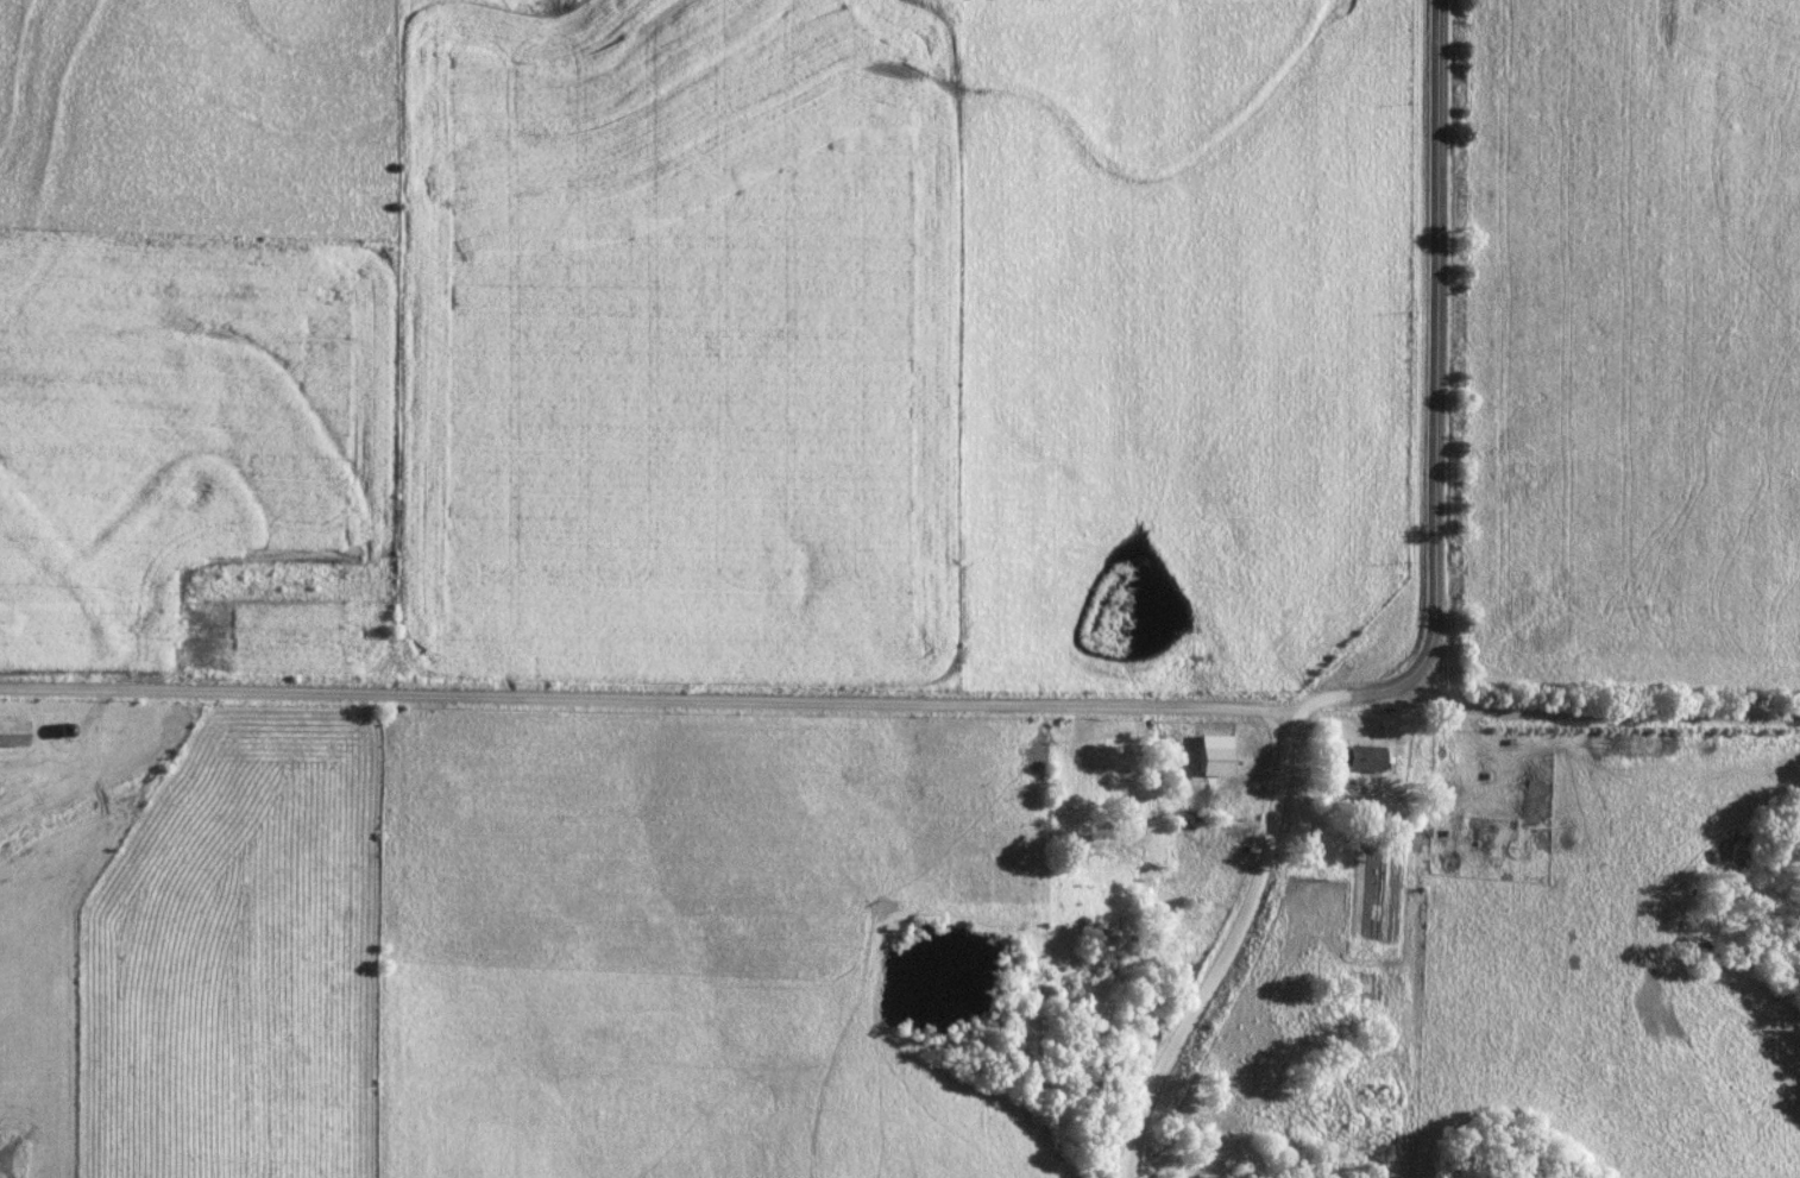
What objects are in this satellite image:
road: (1433, 382)
road: (647, 697)
road: (1599, 713)
building: (12, 733)
building: (1360, 757)
building: (1211, 761)
road: (1229, 932)

